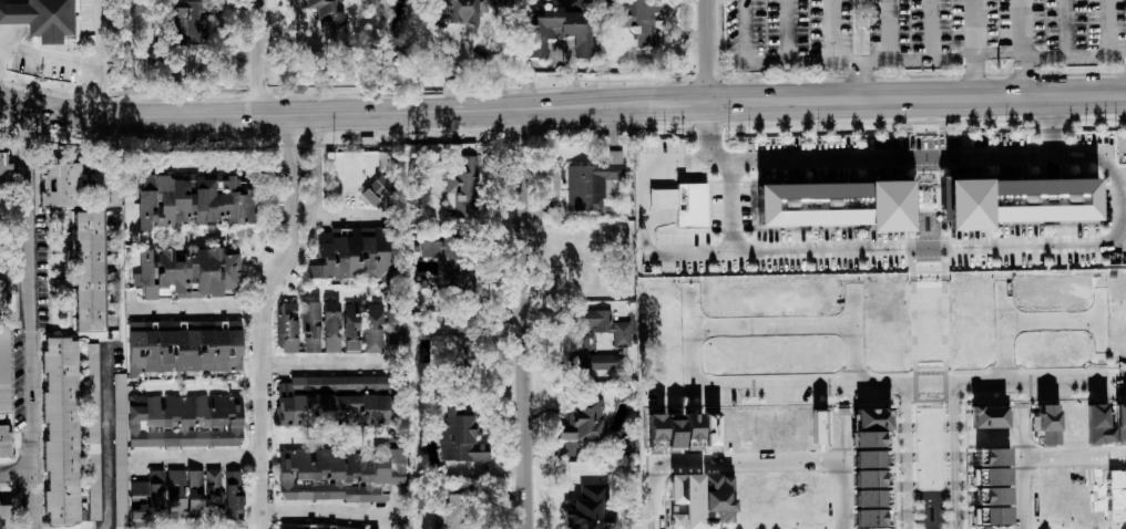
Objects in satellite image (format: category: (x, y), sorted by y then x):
building: (319, 6)
building: (473, 11)
building: (41, 18)
building: (192, 18)
road: (8, 19)
building: (643, 19)
road: (1107, 28)
building: (553, 29)
road: (1066, 29)
road: (830, 31)
road: (888, 31)
road: (931, 31)
road: (786, 32)
road: (973, 44)
road: (1021, 44)
road: (707, 48)
road: (3, 53)
road: (260, 53)
road: (997, 53)
road: (96, 56)
road: (1074, 56)
road: (45, 58)
road: (827, 63)
road: (860, 77)
road: (85, 86)
road: (562, 101)
road: (1053, 108)
road: (709, 113)
road: (889, 156)
building: (4, 160)
road: (289, 164)
road: (316, 164)
building: (592, 181)
building: (105, 183)
building: (462, 186)
building: (376, 189)
building: (1024, 196)
building: (835, 198)
building: (192, 200)
building: (683, 203)
building: (1, 205)
road: (645, 217)
road: (132, 220)
road: (945, 240)
building: (352, 253)
building: (448, 257)
building: (88, 270)
building: (185, 272)
building: (3, 293)
road: (29, 315)
road: (523, 315)
road: (262, 319)
building: (393, 322)
building: (449, 323)
building: (605, 324)
road: (770, 324)
building: (330, 325)
road: (1023, 325)
building: (350, 326)
building: (372, 326)
building: (183, 344)
road: (334, 364)
building: (3, 369)
road: (909, 383)
building: (332, 400)
building: (987, 415)
building: (872, 418)
building: (184, 419)
building: (583, 419)
building: (1045, 423)
building: (675, 428)
building: (92, 429)
road: (104, 435)
building: (459, 438)
building: (869, 438)
building: (4, 440)
building: (119, 450)
road: (1074, 455)
road: (905, 456)
road: (953, 456)
building: (869, 458)
road: (164, 459)
road: (753, 463)
road: (1022, 468)
building: (339, 474)
road: (16, 476)
building: (869, 478)
building: (995, 486)
building: (203, 491)
building: (174, 492)
building: (233, 494)
building: (147, 495)
building: (700, 498)
building: (585, 507)
building: (870, 507)
building: (450, 512)
road: (334, 514)
building: (4, 516)
building: (330, 527)

